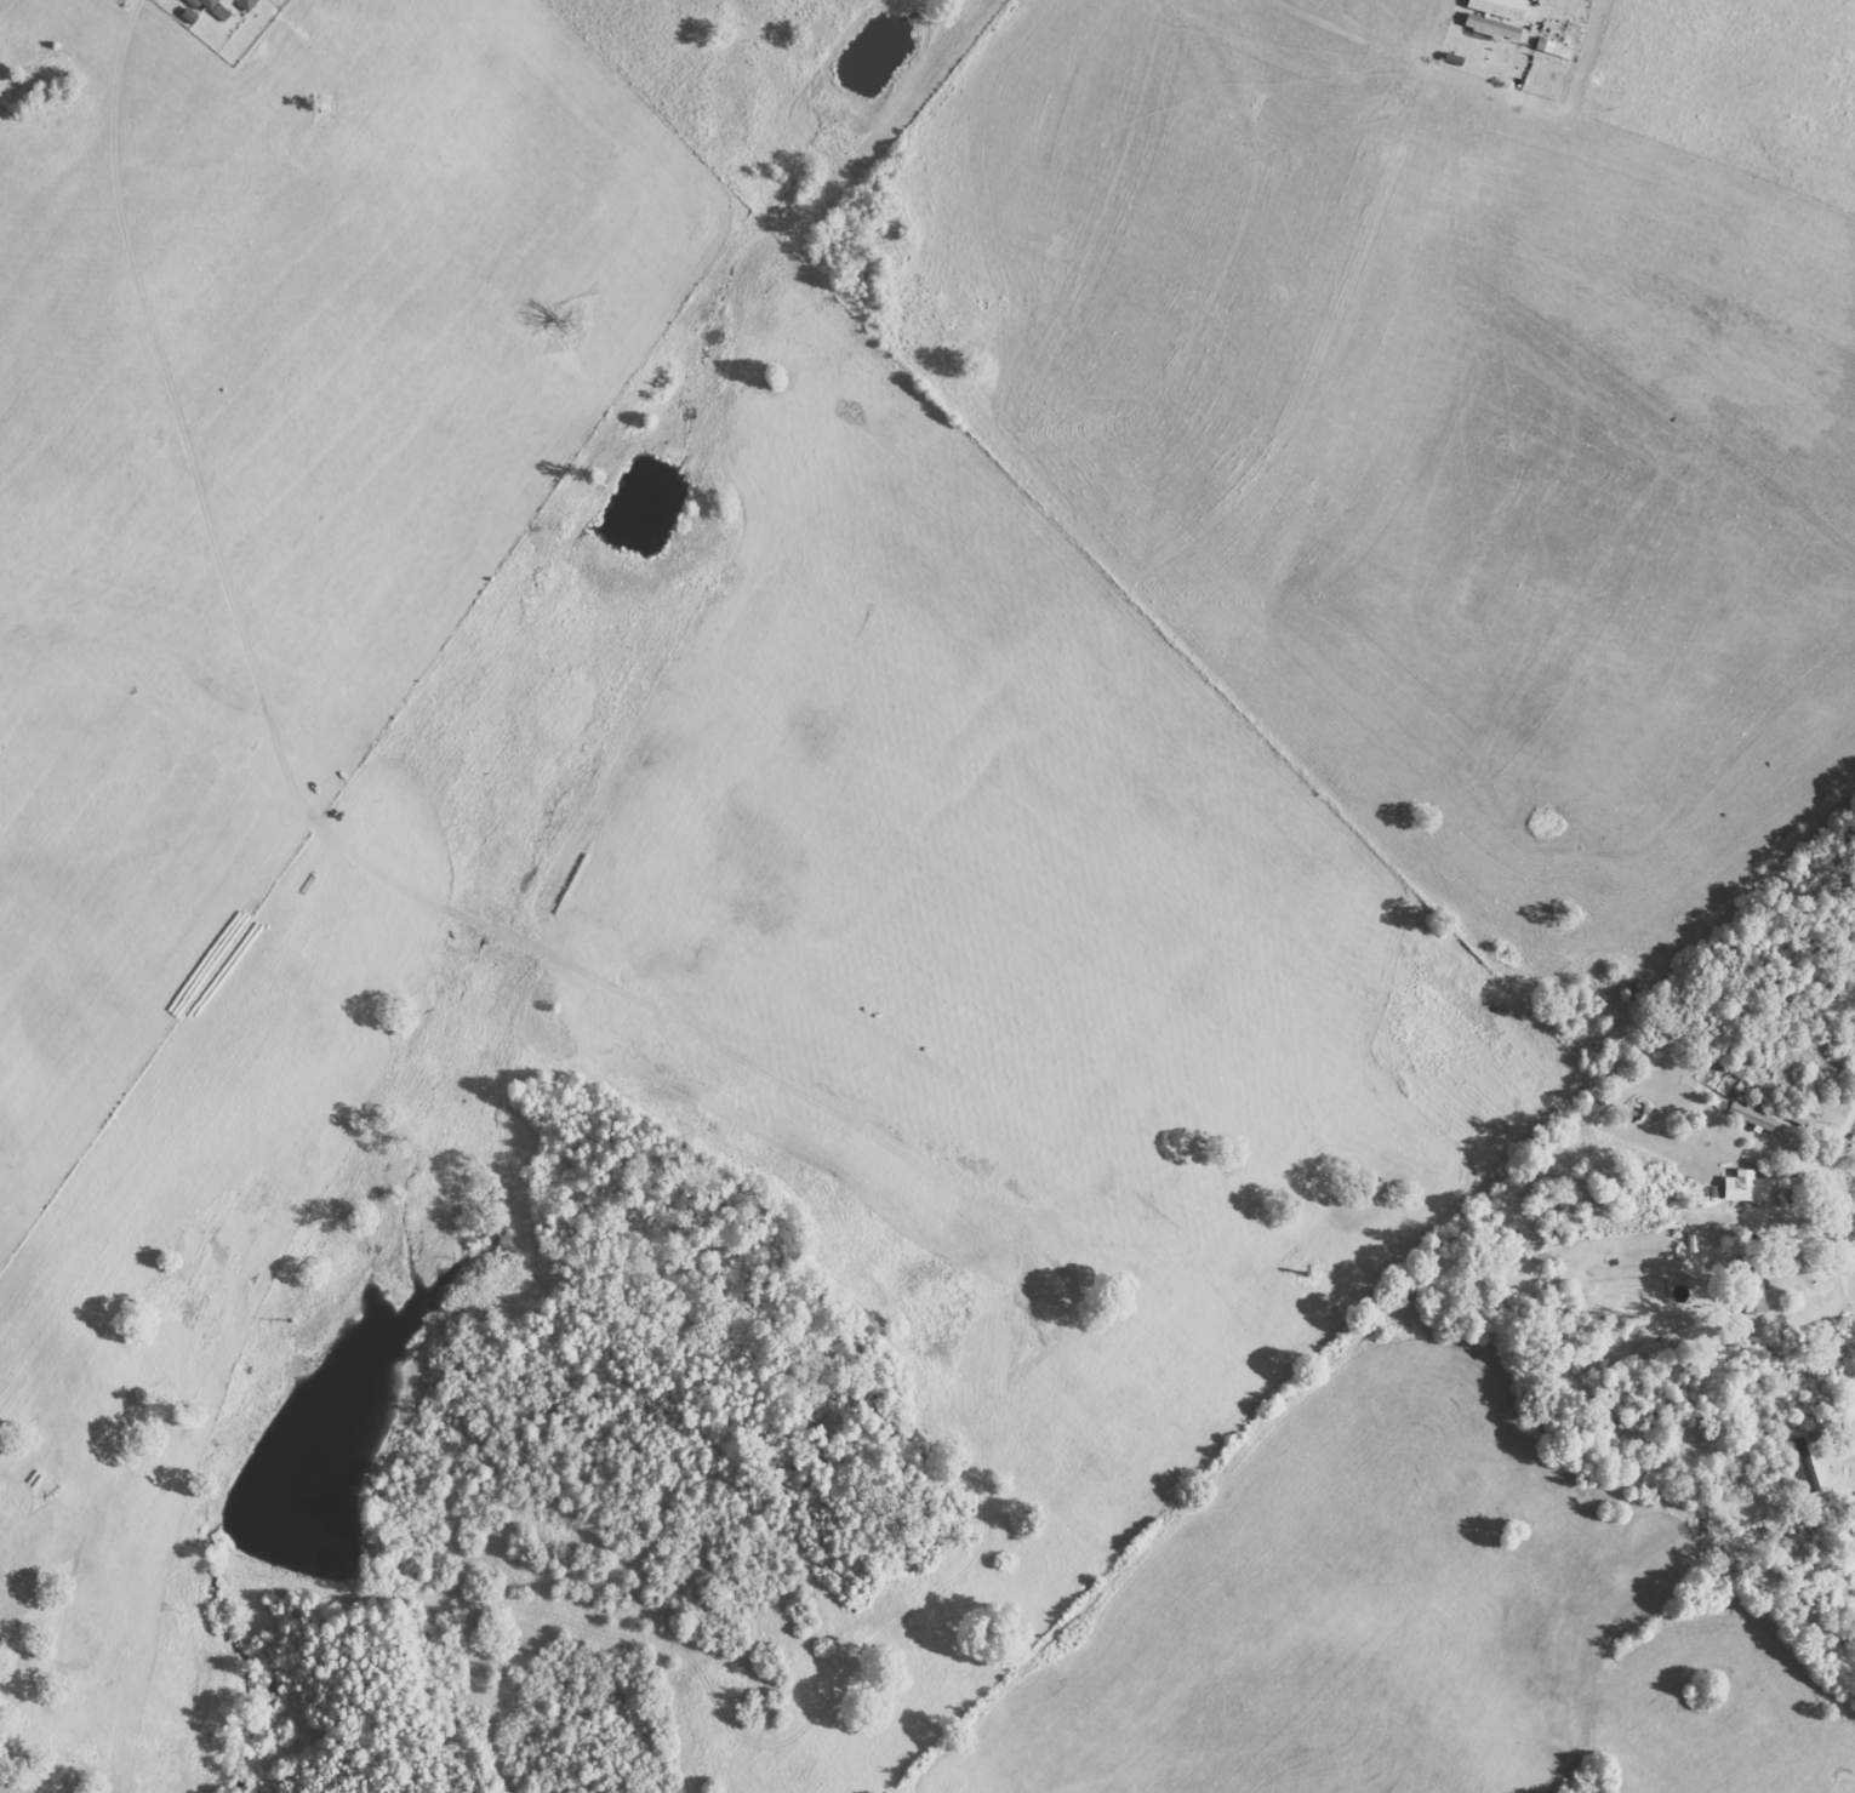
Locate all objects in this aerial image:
building: (226, 6)
building: (187, 16)
building: (1490, 19)
building: (1548, 48)
building: (1743, 1187)
building: (1711, 1192)
building: (1747, 1283)
building: (1805, 1464)
road: (144, 1528)
building: (1854, 1645)
road: (1821, 1769)

